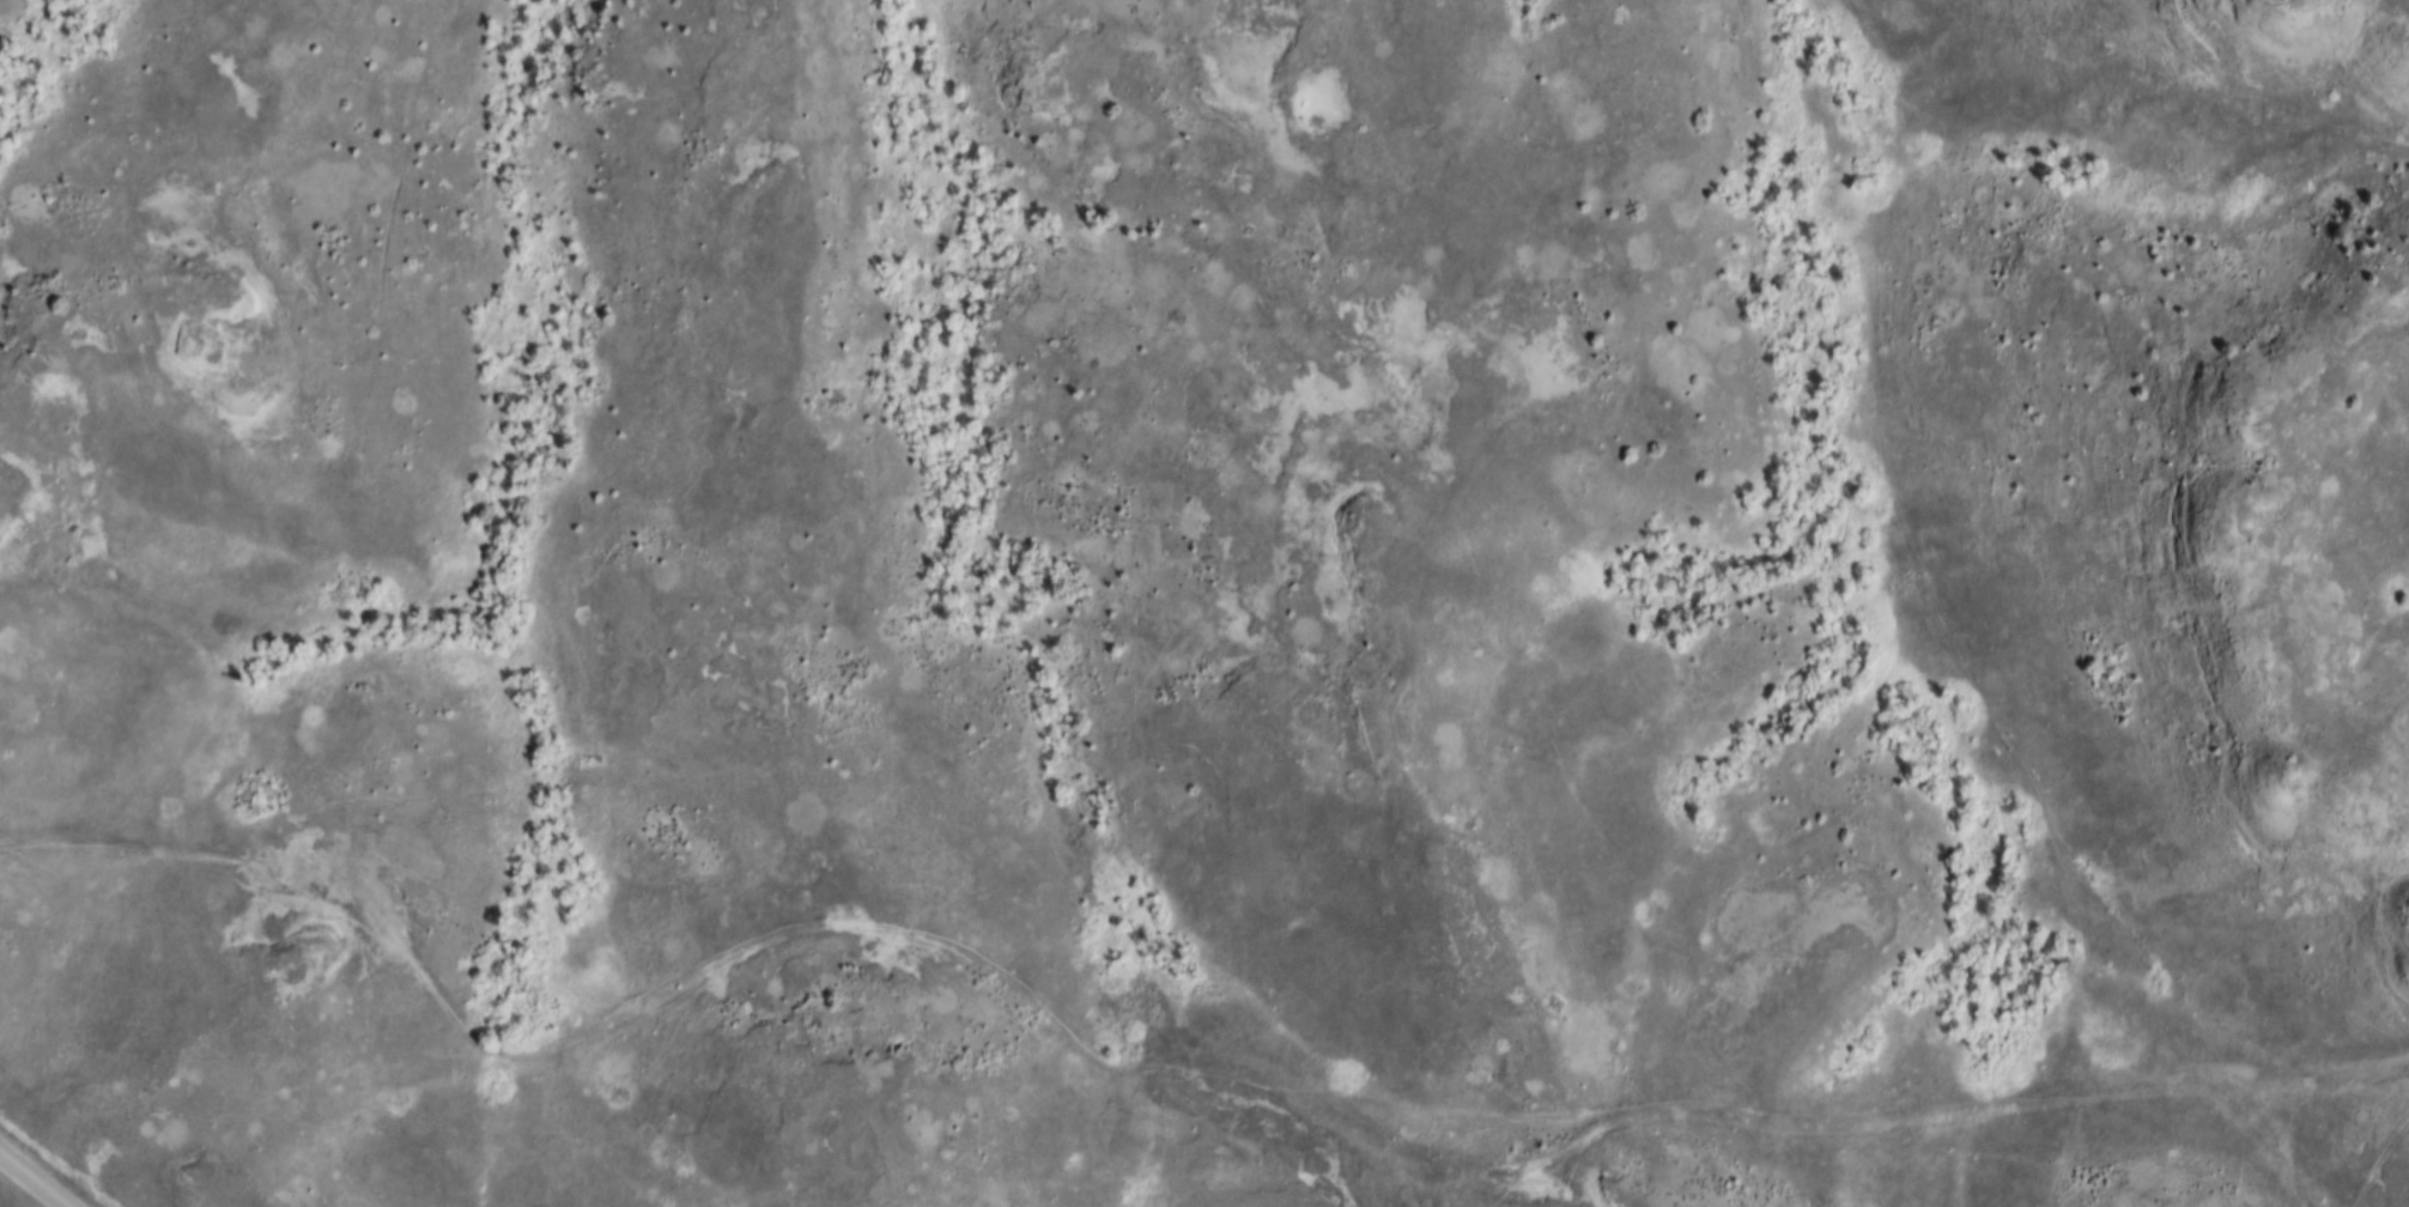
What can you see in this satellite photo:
road: (1147, 1073)
road: (32, 1181)

